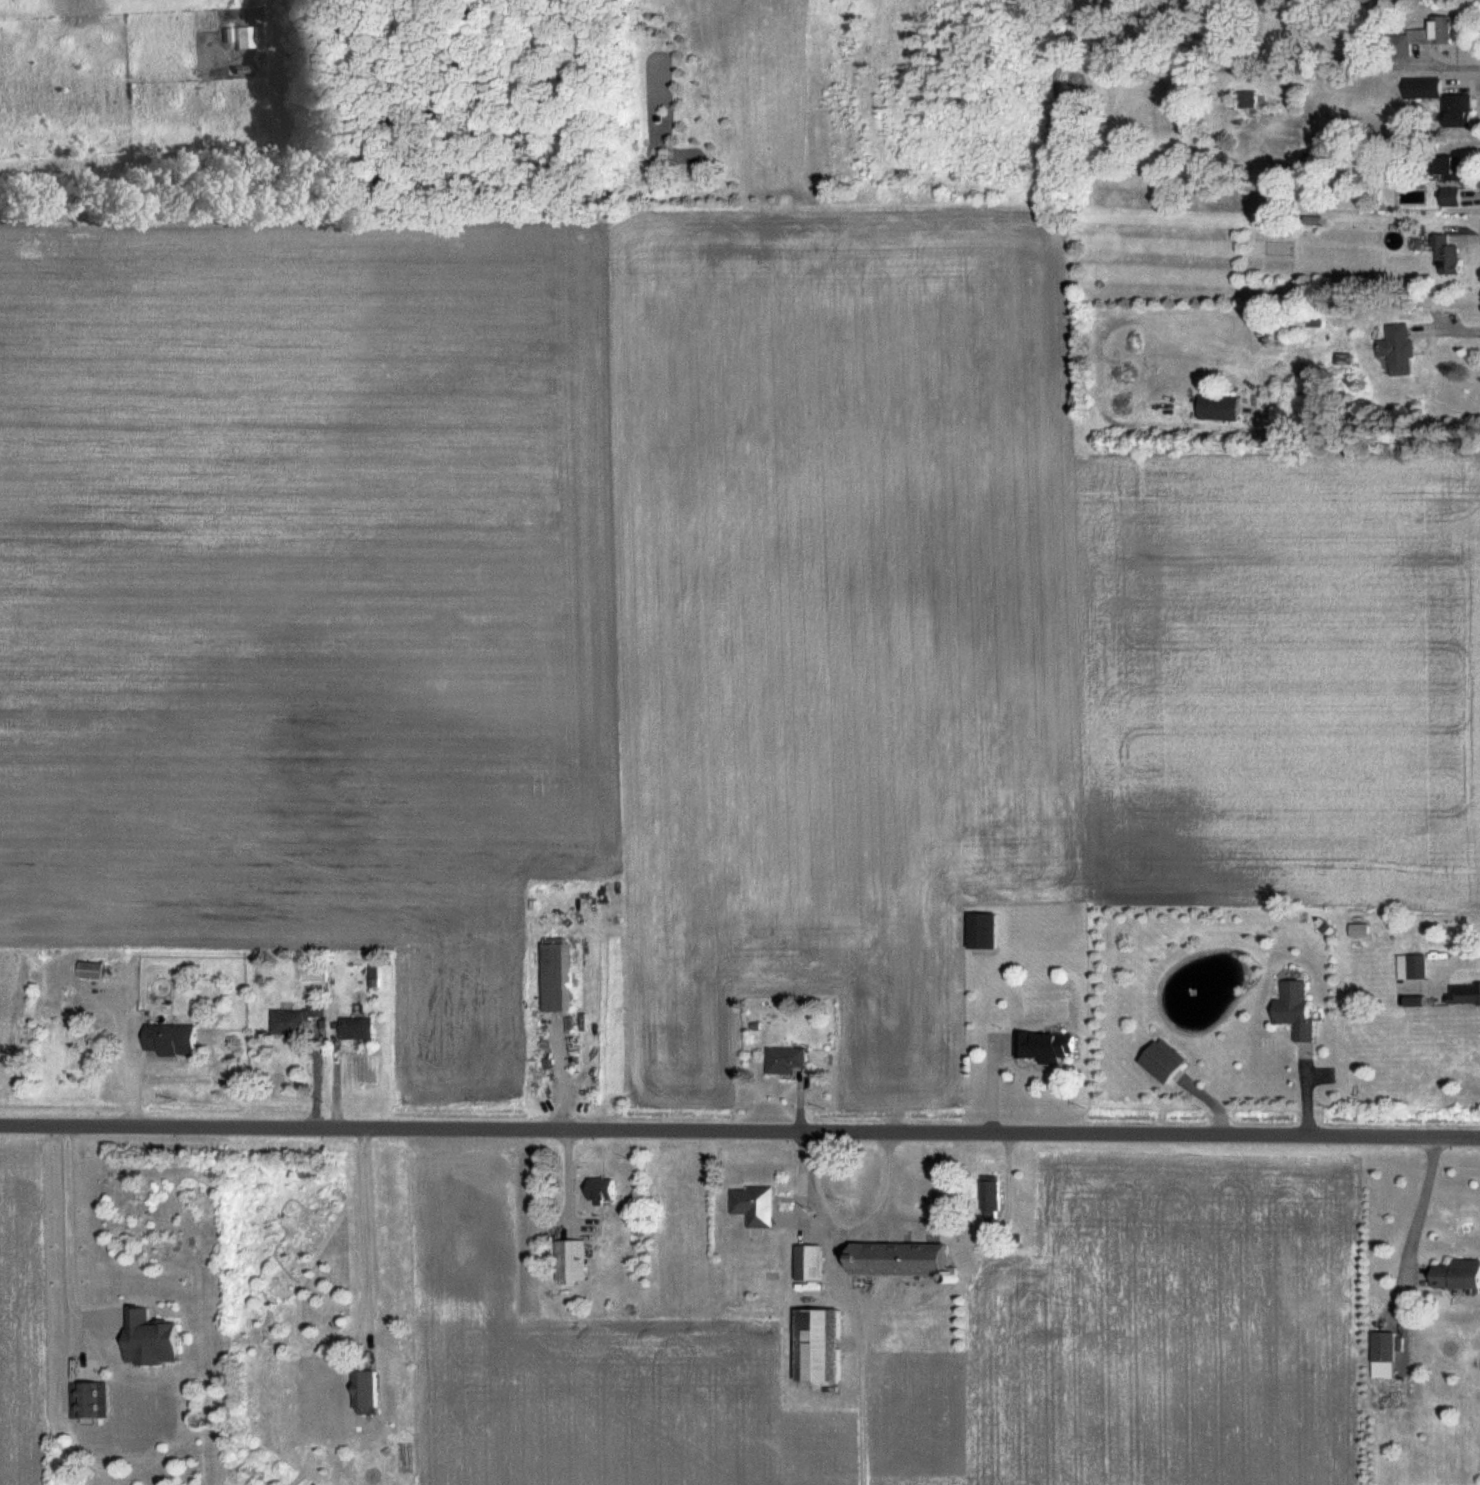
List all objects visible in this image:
building: (1418, 37)
building: (241, 38)
building: (1244, 100)
building: (1455, 112)
building: (1446, 167)
building: (1447, 196)
building: (1444, 256)
road: (1449, 331)
building: (1395, 349)
building: (1216, 408)
building: (980, 932)
road: (1458, 962)
building: (87, 972)
building: (554, 977)
building: (371, 979)
building: (1411, 980)
building: (1462, 995)
building: (1292, 1010)
building: (295, 1019)
building: (353, 1030)
building: (168, 1041)
building: (1043, 1047)
building: (782, 1061)
building: (1159, 1062)
road: (739, 1132)
building: (598, 1190)
building: (988, 1199)
building: (751, 1206)
road: (1412, 1227)
road: (364, 1233)
road: (61, 1245)
building: (895, 1260)
building: (568, 1261)
building: (805, 1264)
building: (1454, 1276)
building: (148, 1341)
building: (814, 1347)
building: (1380, 1348)
building: (360, 1391)
building: (88, 1401)

